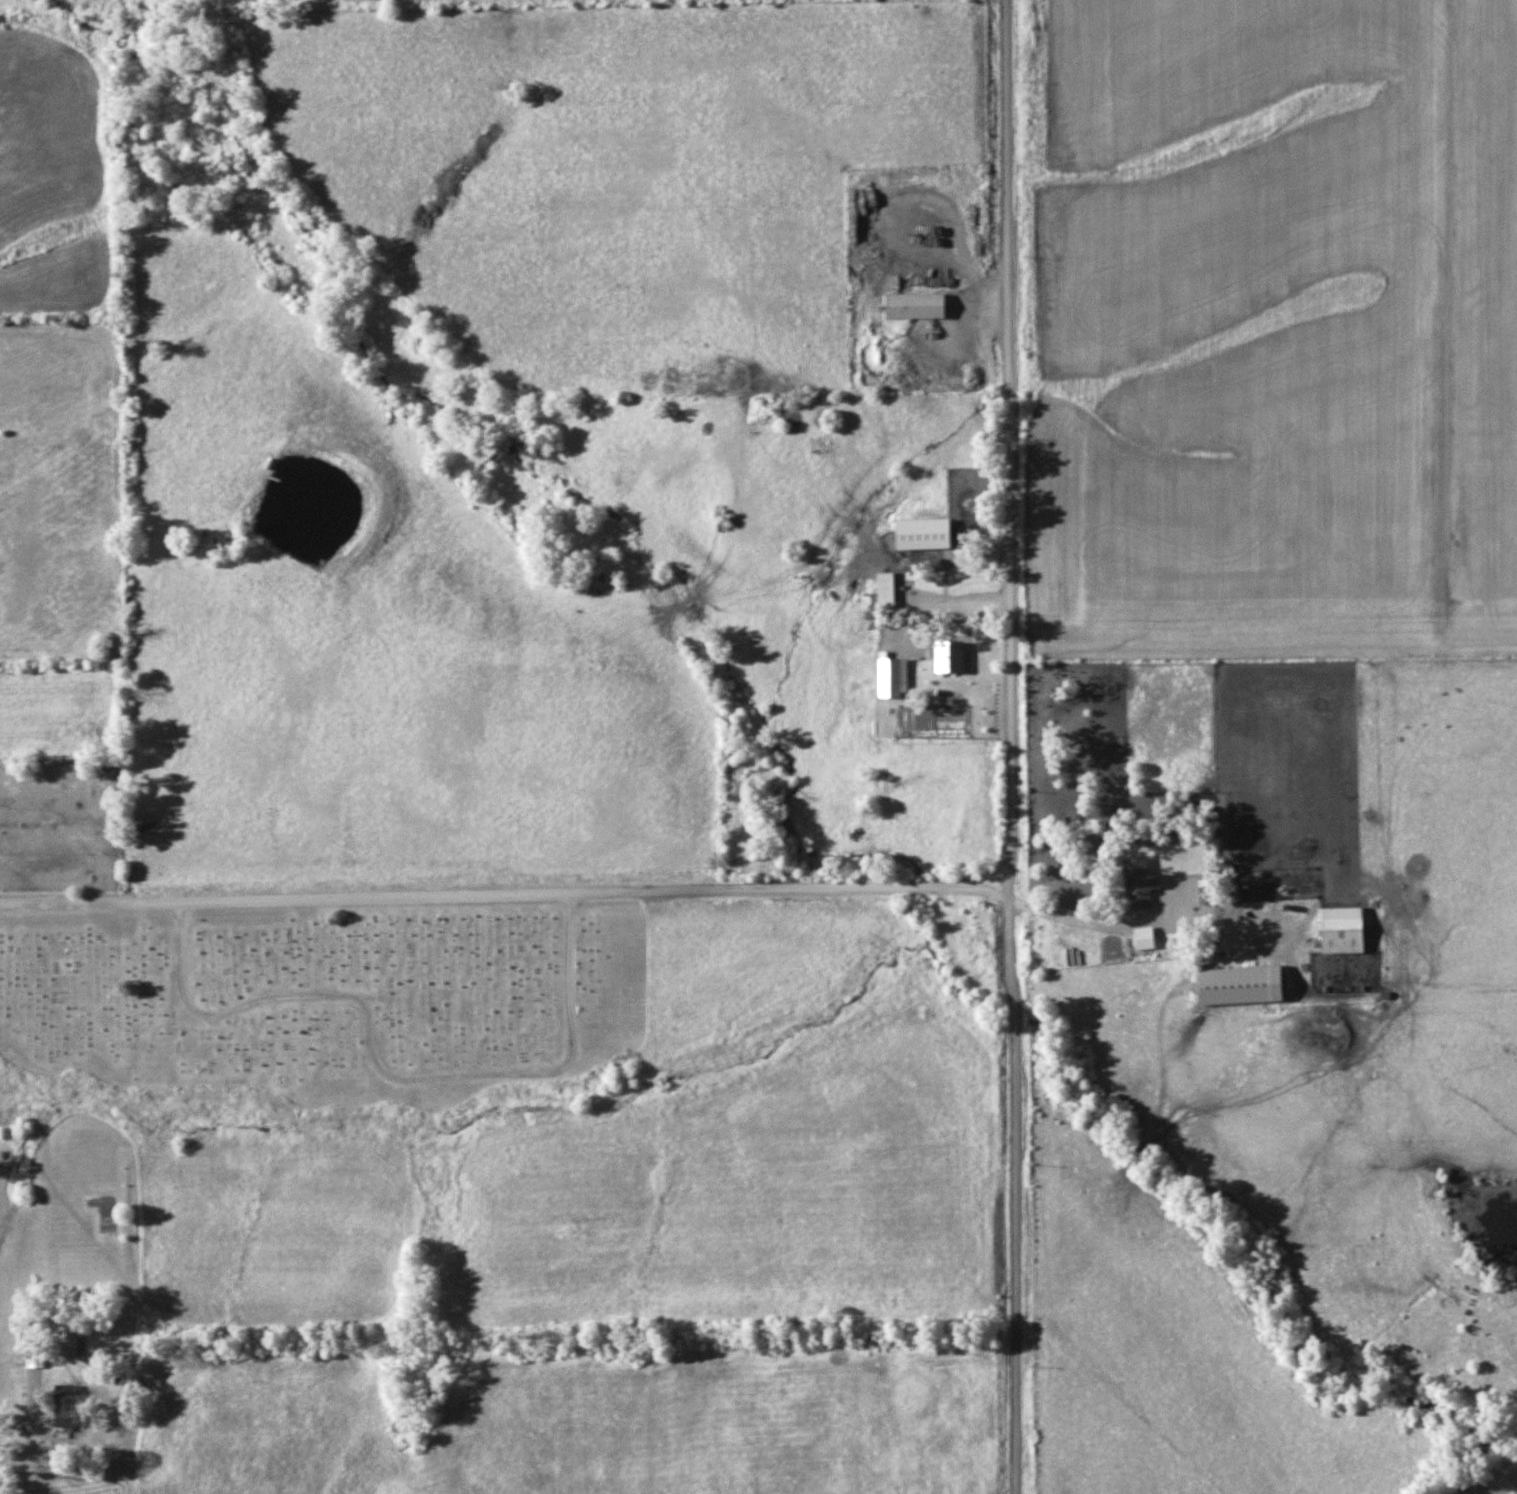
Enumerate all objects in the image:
road: (1011, 443)
building: (813, 444)
building: (1136, 883)
road: (550, 891)
road: (46, 904)
building: (1339, 936)
park: (312, 1003)
road: (1015, 1189)
building: (63, 1344)
building: (62, 1395)

